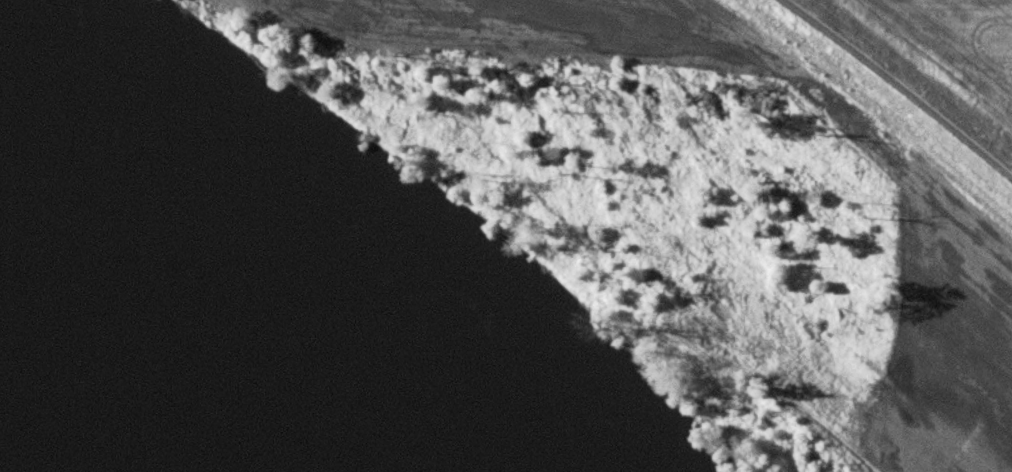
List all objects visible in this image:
road: (898, 88)
river: (183, 348)

